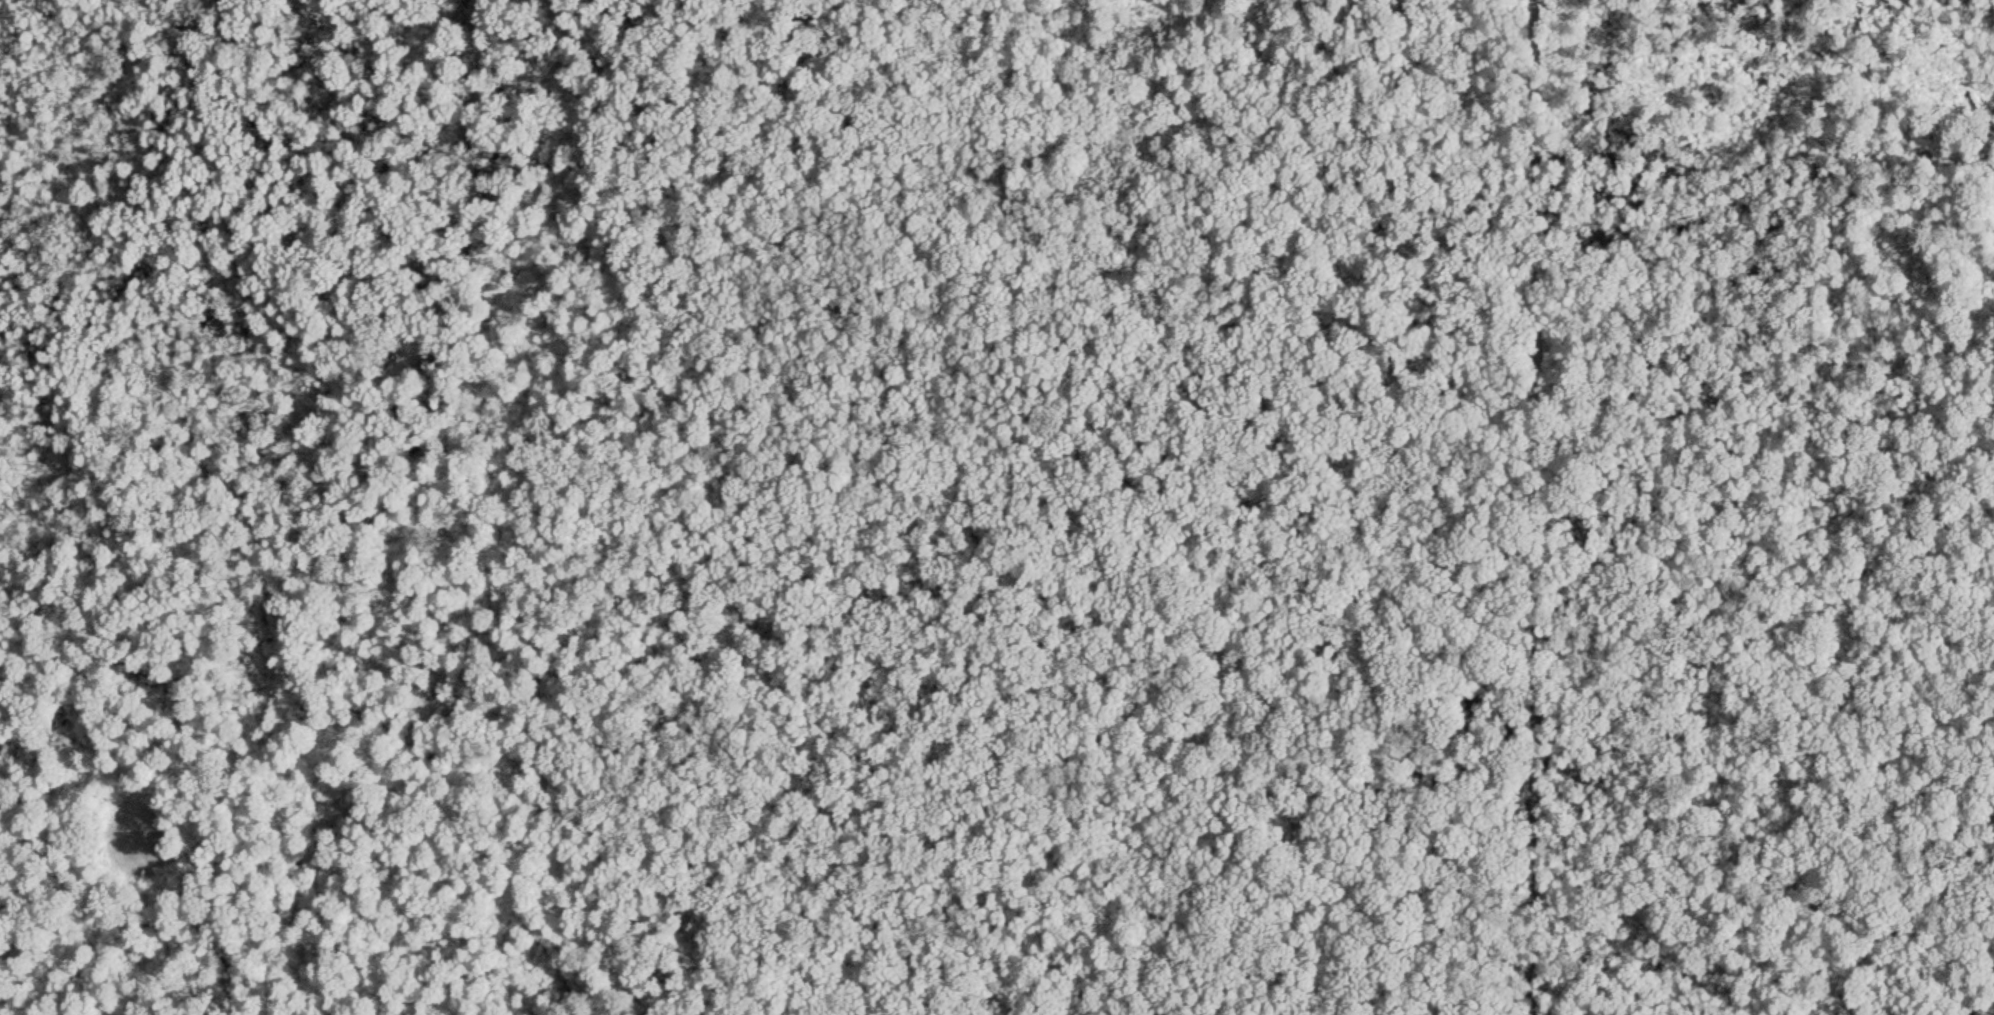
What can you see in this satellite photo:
road: (1761, 241)
road: (1527, 507)

